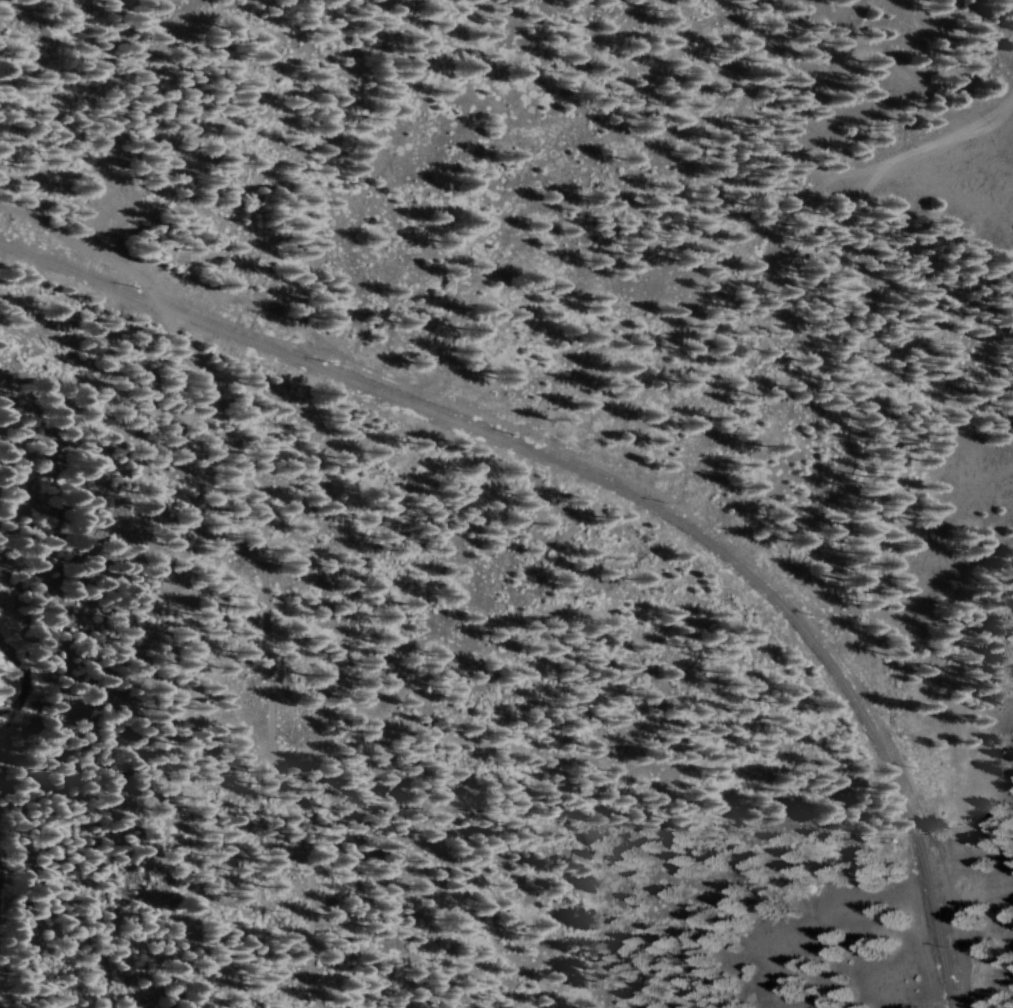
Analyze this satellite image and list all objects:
railway: (611, 482)

